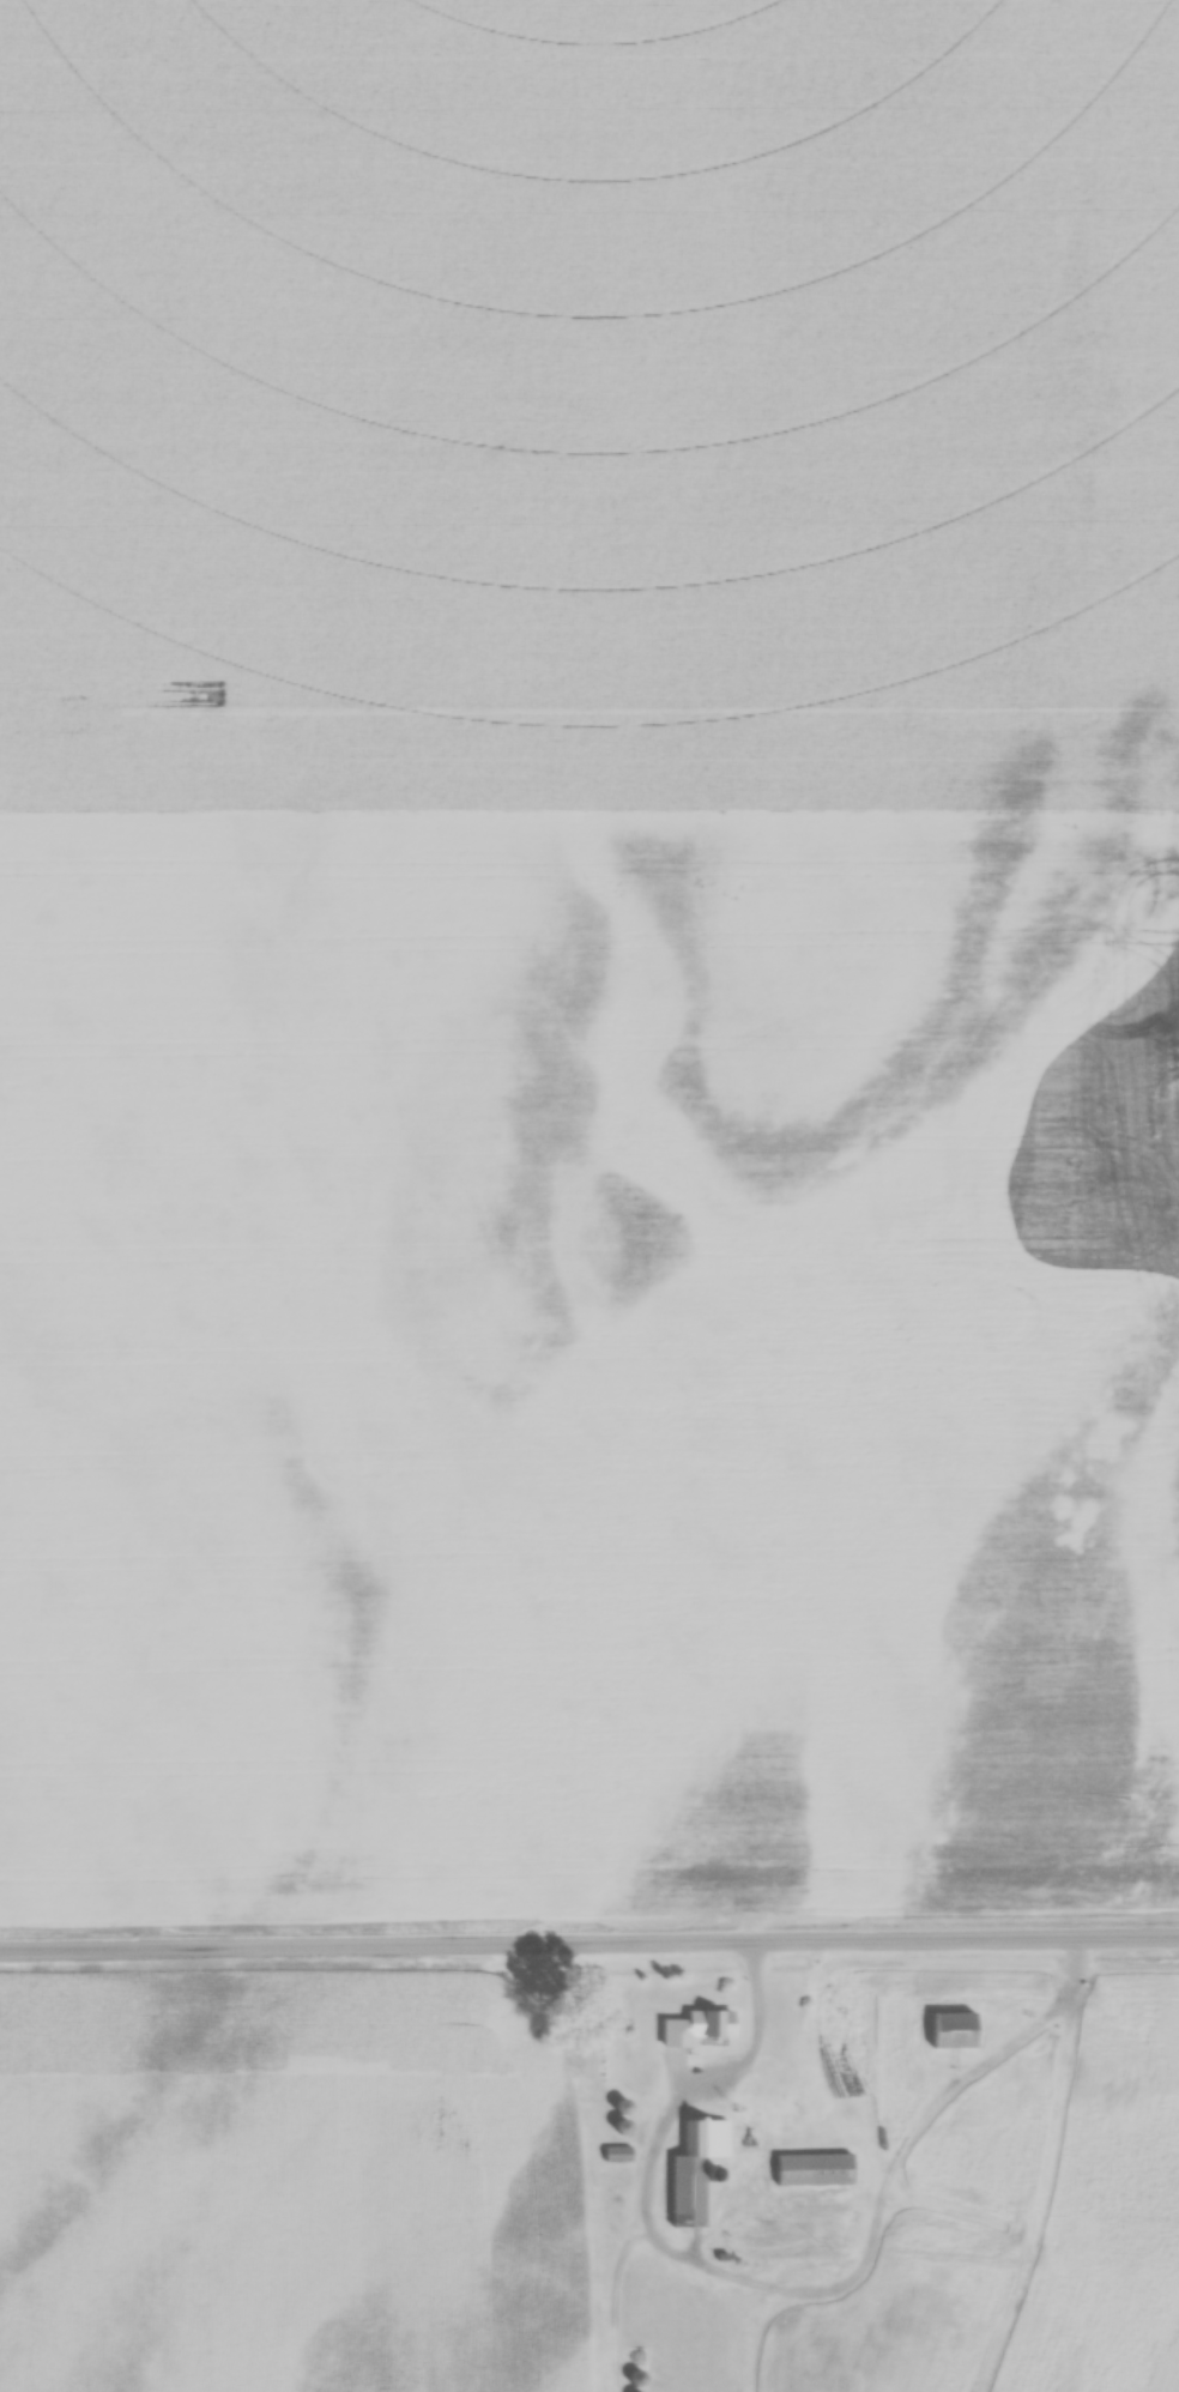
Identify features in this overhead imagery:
road: (589, 1944)
building: (715, 2022)
building: (953, 2029)
building: (803, 2101)
building: (616, 2152)
building: (694, 2167)
building: (812, 2168)
building: (635, 2378)

